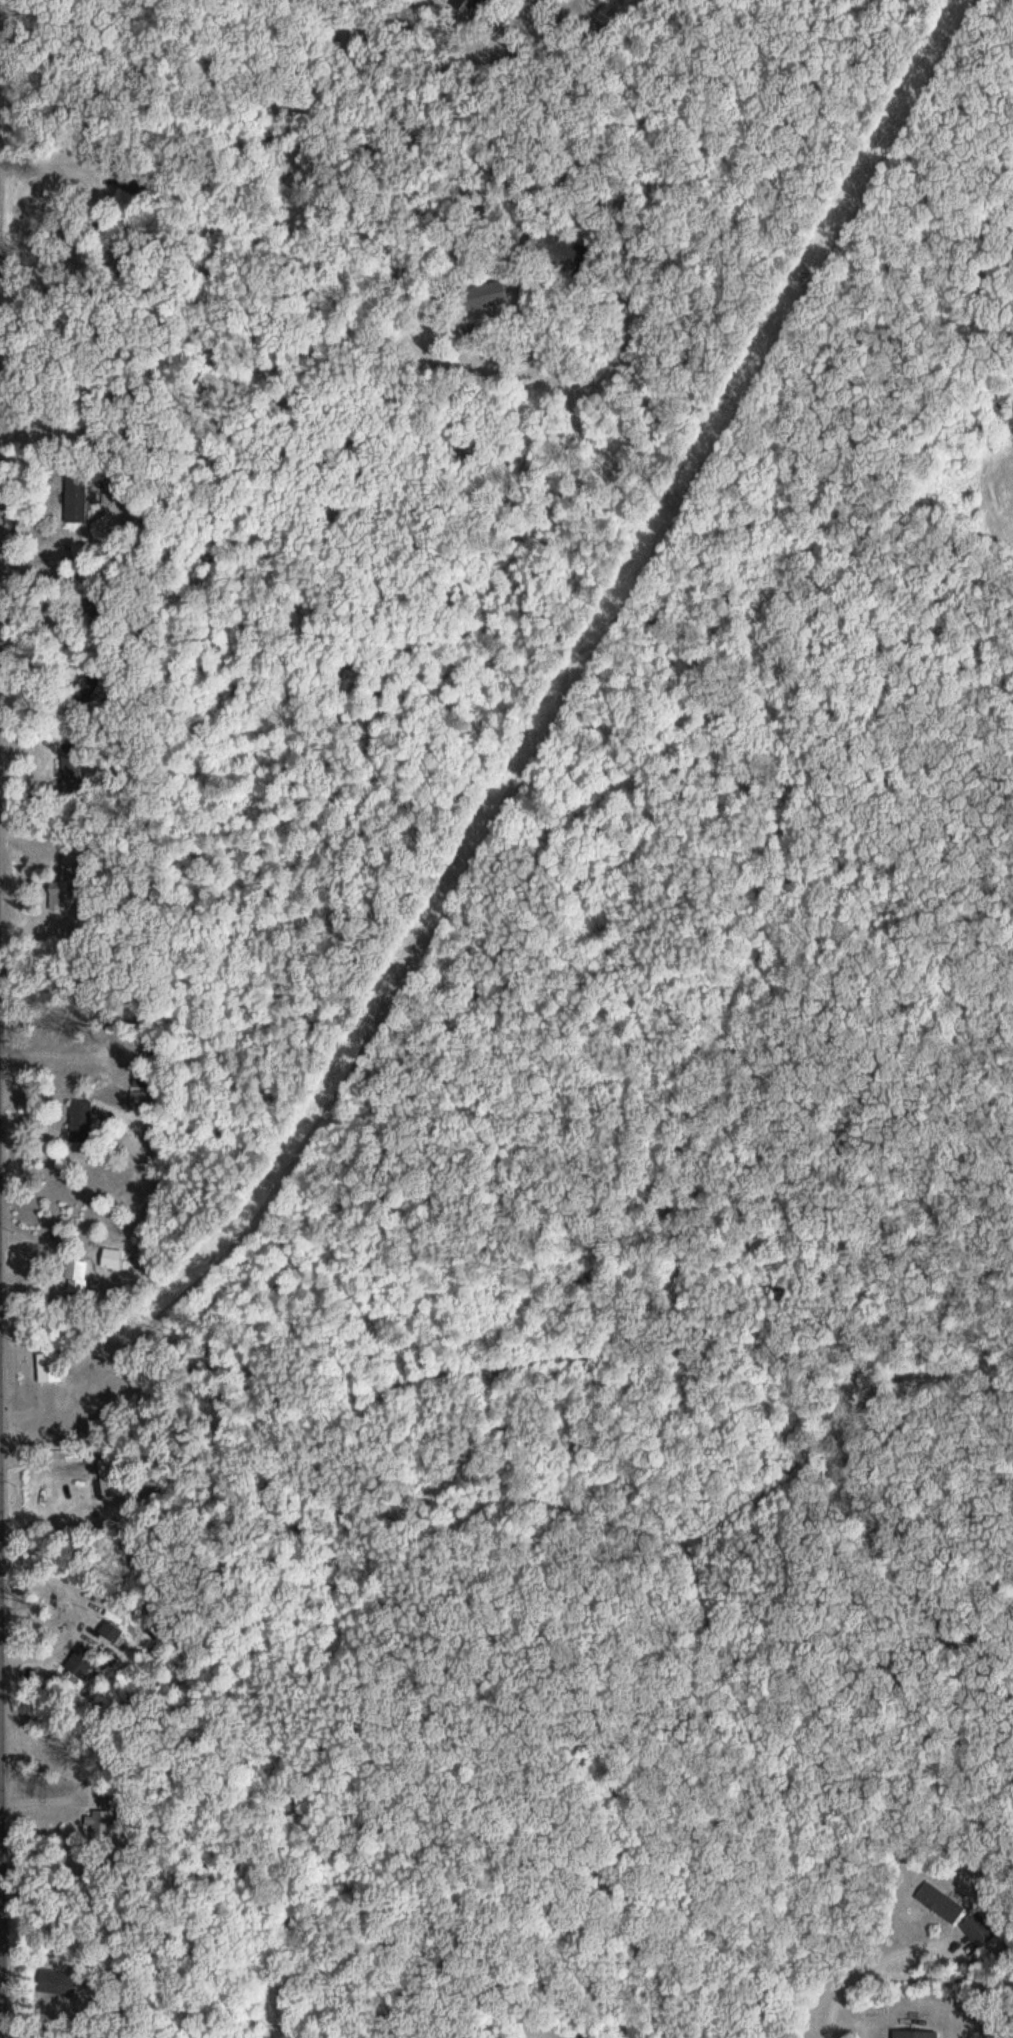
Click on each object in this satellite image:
building: (480, 8)
road: (183, 183)
building: (492, 294)
road: (231, 340)
building: (76, 515)
building: (84, 554)
building: (83, 1115)
building: (115, 1258)
building: (79, 1276)
road: (102, 1338)
building: (115, 1477)
building: (104, 1817)
road: (0, 1954)
road: (917, 2010)

